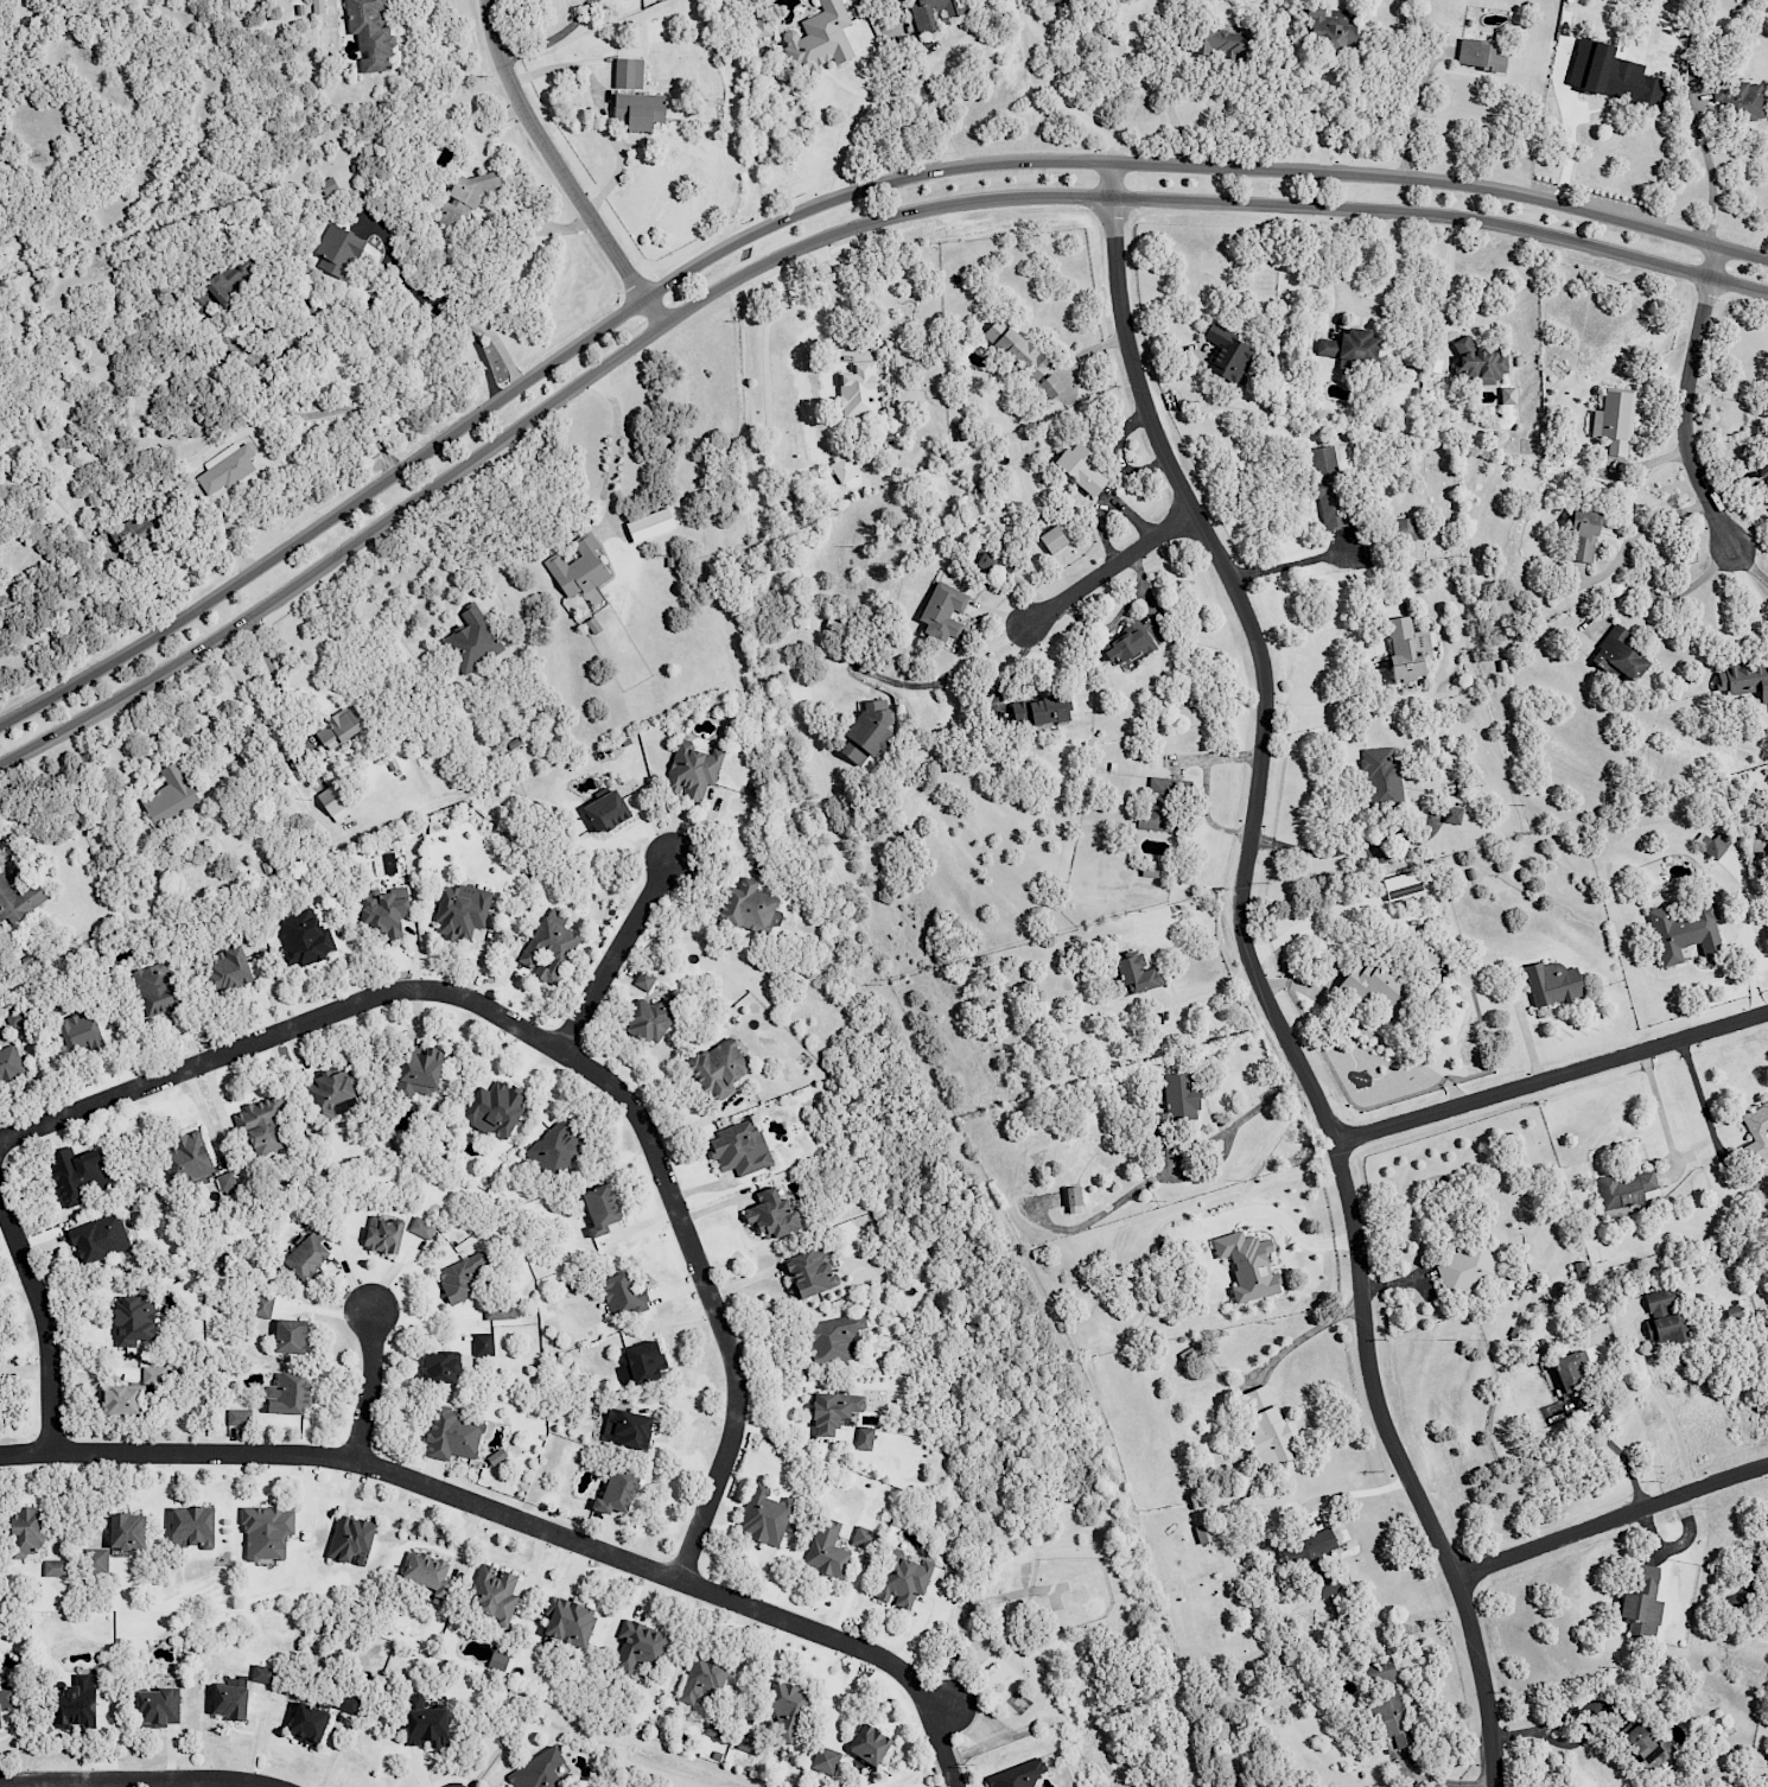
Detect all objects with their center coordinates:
building: (1049, 1)
building: (929, 13)
building: (1327, 30)
building: (374, 33)
building: (816, 38)
building: (1215, 42)
building: (1478, 55)
road: (110, 59)
building: (625, 72)
building: (1609, 75)
road: (1057, 88)
building: (1737, 100)
road: (599, 103)
road: (934, 106)
building: (637, 110)
road: (1414, 122)
road: (1566, 152)
road: (1713, 167)
road: (558, 168)
building: (329, 185)
building: (463, 199)
road: (814, 206)
road: (812, 241)
building: (339, 249)
road: (1445, 272)
road: (829, 291)
road: (449, 319)
building: (1348, 345)
building: (1012, 349)
building: (1223, 354)
building: (1477, 363)
building: (1047, 384)
building: (857, 390)
building: (1505, 395)
road: (1687, 402)
road: (316, 414)
building: (1611, 421)
road: (615, 443)
building: (1760, 450)
building: (227, 468)
building: (841, 470)
building: (1075, 470)
building: (1325, 485)
building: (647, 526)
building: (139, 528)
building: (1575, 532)
building: (1049, 540)
road: (433, 551)
road: (1292, 564)
road: (1114, 567)
building: (577, 568)
road: (1751, 570)
road: (1665, 597)
building: (940, 611)
building: (472, 638)
building: (1123, 642)
building: (1403, 650)
building: (1616, 654)
building: (1743, 680)
road: (948, 685)
building: (1038, 710)
building: (337, 729)
building: (866, 731)
building: (692, 770)
building: (1379, 774)
building: (171, 795)
building: (332, 803)
building: (1153, 805)
building: (1766, 807)
building: (602, 809)
building: (1450, 814)
building: (1711, 844)
road: (1327, 854)
building: (1400, 885)
building: (21, 899)
building: (748, 909)
building: (382, 911)
building: (459, 912)
building: (1681, 931)
building: (304, 937)
building: (548, 948)
road: (616, 954)
building: (233, 968)
building: (1131, 974)
road: (1258, 979)
building: (642, 980)
building: (1367, 982)
building: (1548, 982)
building: (161, 988)
building: (19, 1017)
building: (645, 1022)
building: (85, 1030)
road: (558, 1048)
building: (11, 1064)
building: (716, 1070)
building: (414, 1071)
road: (1551, 1075)
building: (329, 1094)
building: (1178, 1095)
road: (1658, 1107)
building: (495, 1109)
building: (266, 1126)
building: (1755, 1128)
building: (737, 1147)
building: (553, 1150)
building: (192, 1157)
building: (83, 1174)
building: (229, 1182)
building: (1626, 1188)
building: (1069, 1195)
building: (596, 1208)
building: (768, 1215)
road: (1290, 1225)
building: (421, 1228)
building: (382, 1234)
building: (103, 1238)
building: (305, 1257)
building: (1245, 1266)
building: (1577, 1266)
building: (1464, 1267)
building: (807, 1271)
building: (458, 1277)
building: (618, 1295)
building: (1655, 1302)
building: (261, 1305)
building: (498, 1311)
building: (129, 1318)
road: (45, 1319)
building: (1662, 1328)
building: (285, 1335)
building: (833, 1337)
road: (1303, 1337)
building: (483, 1344)
building: (638, 1362)
building: (435, 1366)
building: (1565, 1371)
building: (152, 1375)
road: (370, 1387)
building: (284, 1394)
building: (114, 1400)
building: (831, 1410)
building: (236, 1417)
road: (1673, 1420)
building: (1266, 1425)
building: (627, 1430)
building: (449, 1435)
building: (863, 1438)
road: (1618, 1450)
building: (492, 1457)
building: (615, 1492)
building: (763, 1516)
road: (1610, 1520)
road: (524, 1521)
building: (191, 1526)
building: (23, 1532)
building: (125, 1532)
building: (266, 1533)
building: (861, 1537)
building: (345, 1538)
building: (1315, 1544)
building: (826, 1550)
building: (1767, 1553)
building: (97, 1560)
building: (55, 1567)
building: (425, 1573)
building: (901, 1578)
building: (1318, 1585)
building: (491, 1595)
building: (1637, 1598)
building: (566, 1623)
building: (637, 1645)
building: (496, 1661)
building: (1376, 1673)
building: (260, 1674)
building: (701, 1678)
building: (4, 1697)
building: (227, 1702)
building: (71, 1703)
building: (346, 1703)
building: (155, 1706)
road: (945, 1706)
building: (784, 1710)
building: (1389, 1718)
building: (420, 1722)
building: (301, 1723)
road: (1539, 1735)
building: (866, 1743)
building: (746, 1744)
building: (1642, 1750)
building: (823, 1760)
building: (535, 1772)
building: (1013, 1775)
road: (135, 1780)
road: (19, 1785)

